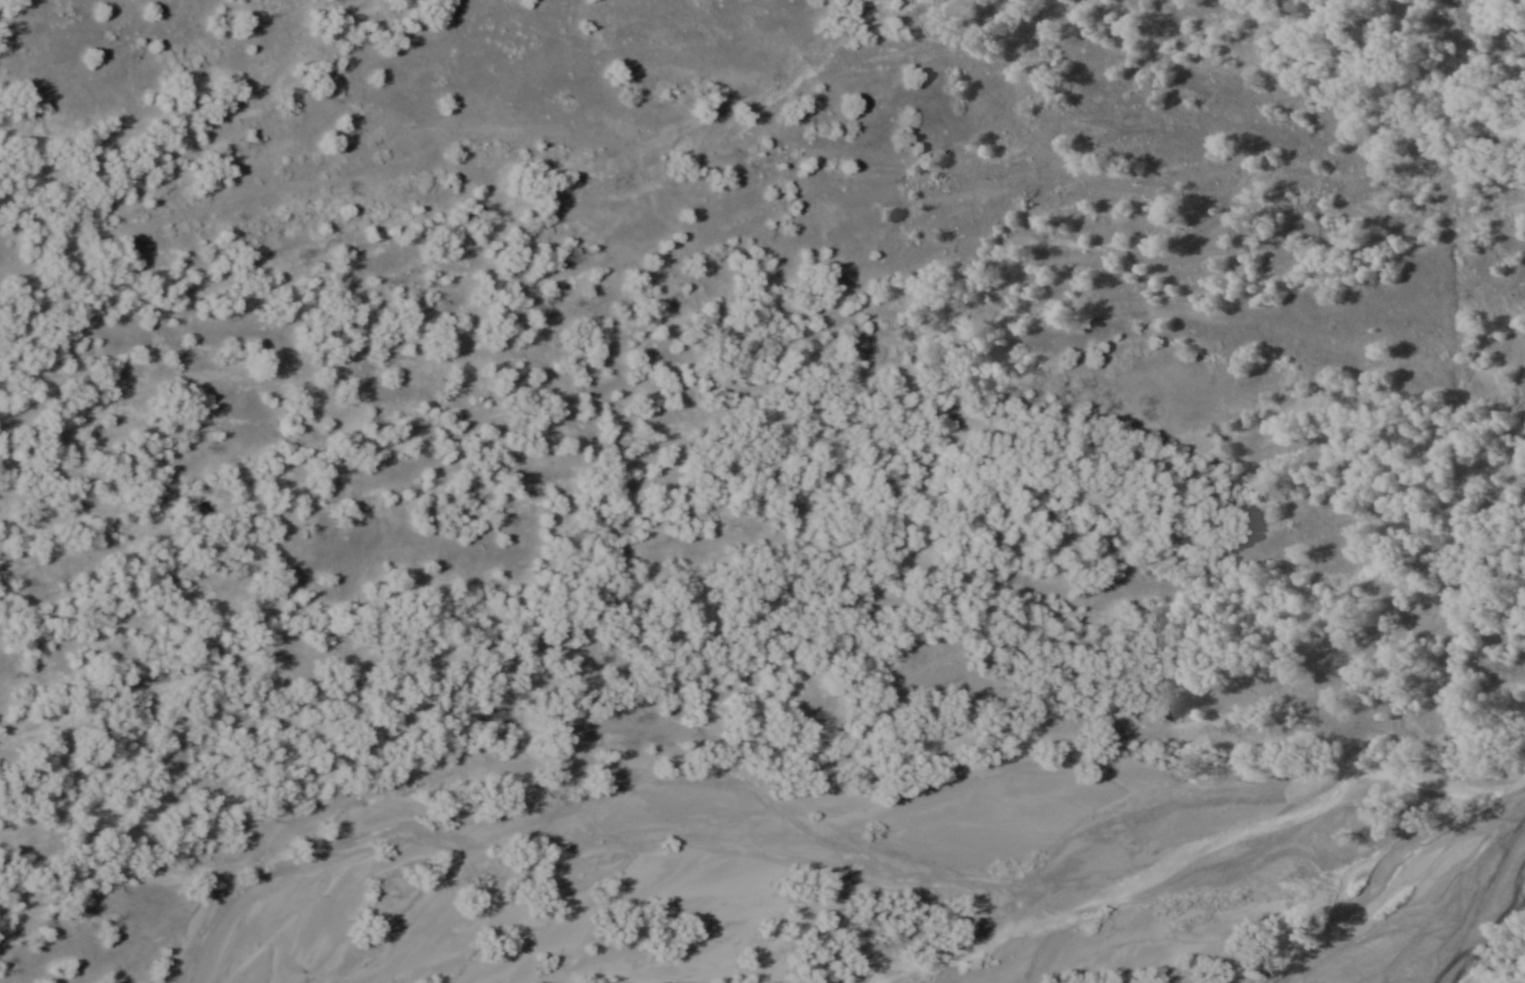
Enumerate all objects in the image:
river: (1443, 934)

